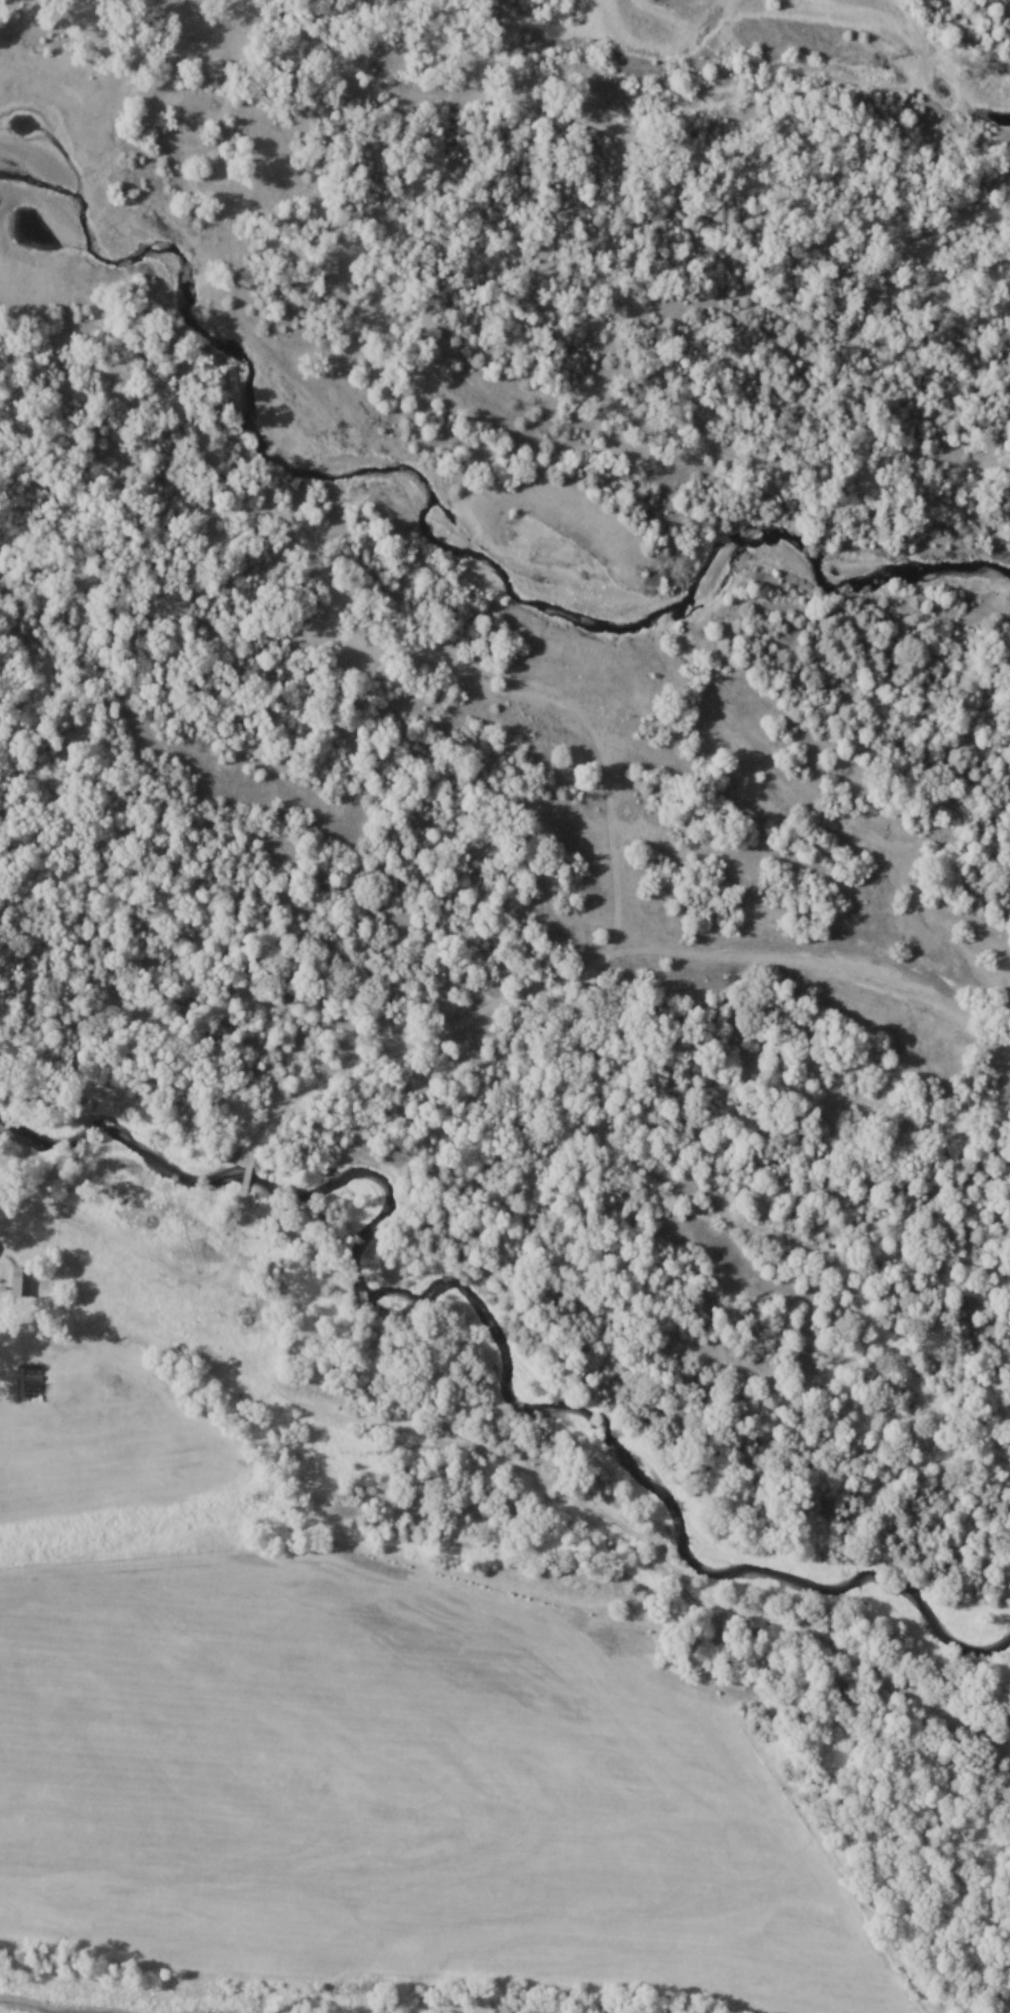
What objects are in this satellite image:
building: (22, 1283)

